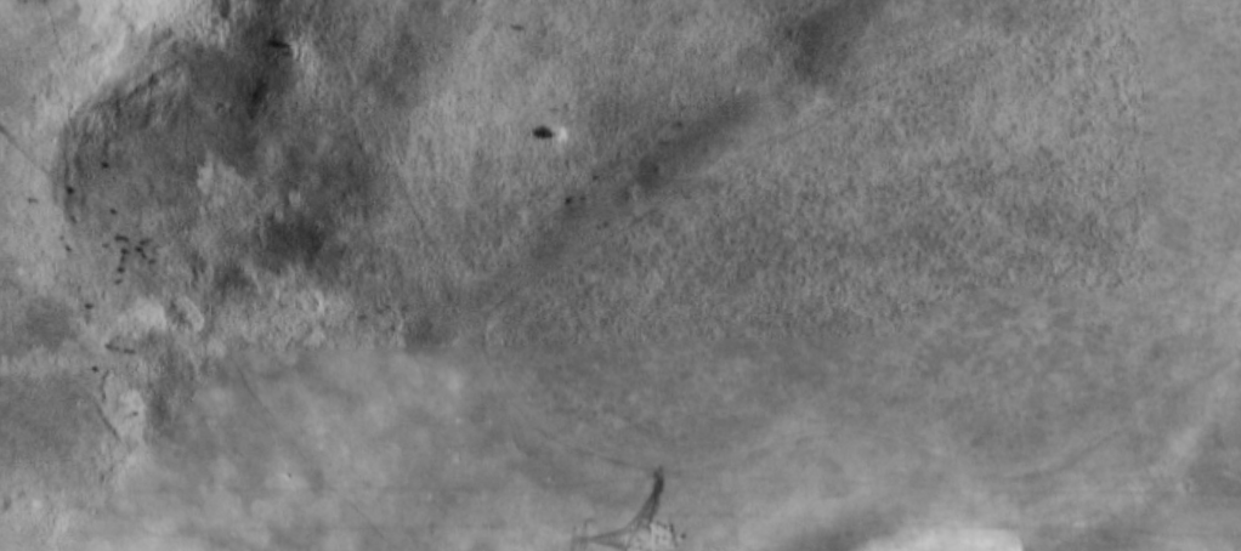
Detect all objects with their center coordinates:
power tower: (636, 539)

